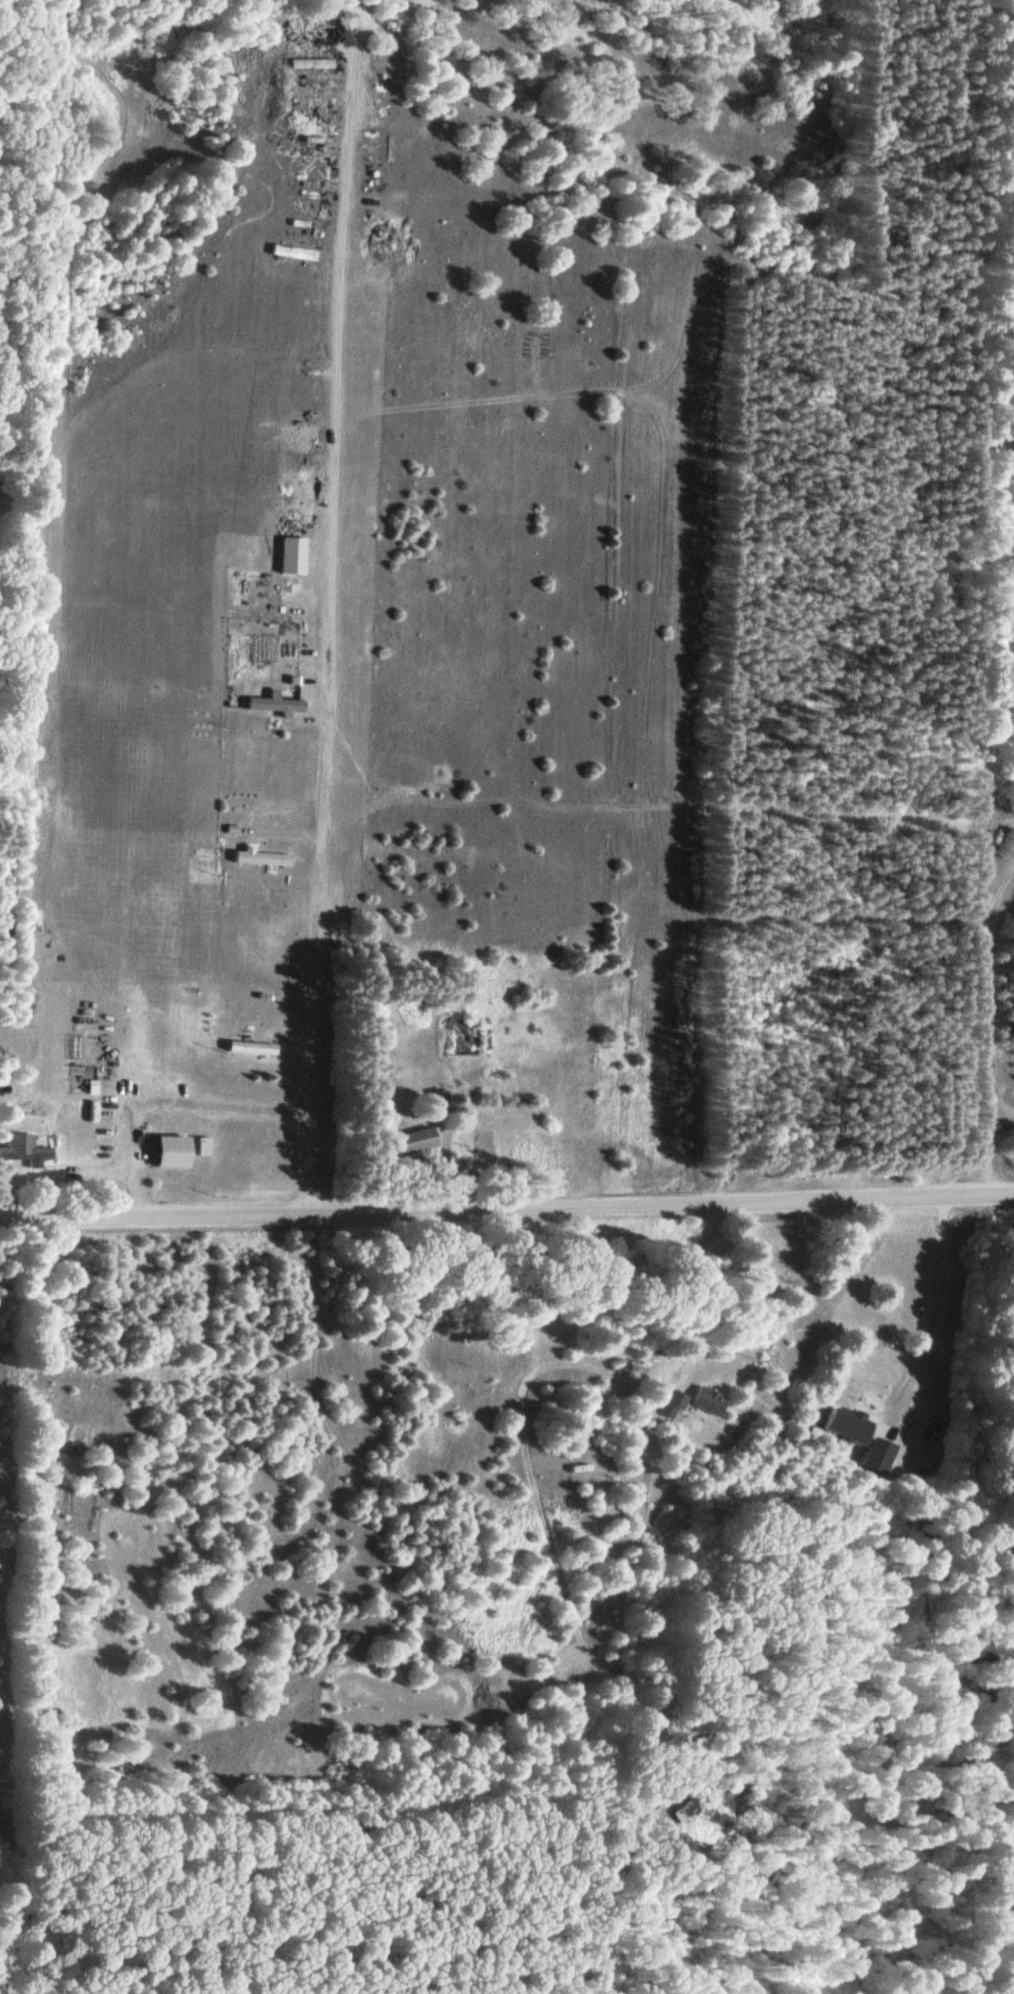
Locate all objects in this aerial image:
building: (350, 238)
road: (331, 606)
building: (271, 703)
building: (1007, 842)
building: (264, 857)
building: (9, 924)
quarry: (994, 966)
building: (250, 1045)
building: (439, 1103)
building: (410, 1141)
building: (205, 1145)
building: (29, 1149)
building: (174, 1151)
road: (507, 1208)
building: (710, 1400)
building: (675, 1403)
building: (864, 1437)

